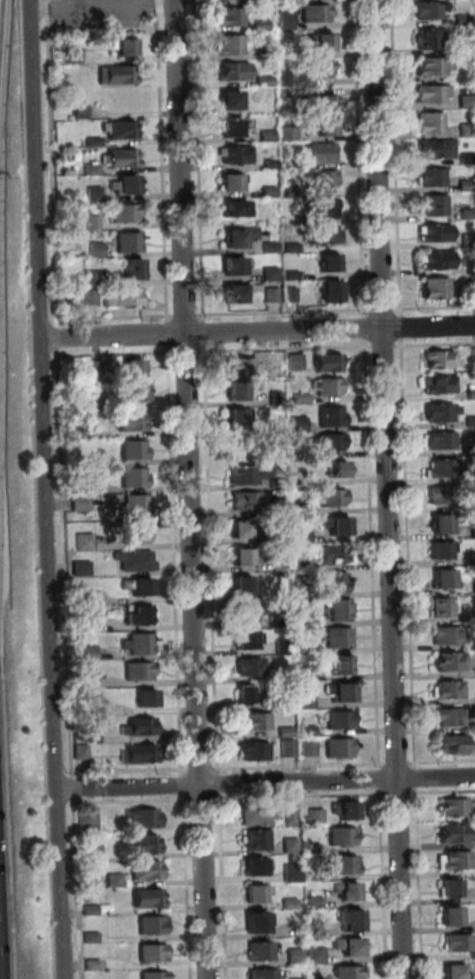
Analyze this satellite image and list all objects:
road: (0, 0)
building: (265, 1)
building: (432, 9)
building: (318, 14)
building: (232, 16)
building: (465, 19)
building: (289, 20)
building: (265, 26)
building: (431, 38)
building: (325, 42)
building: (233, 45)
building: (126, 46)
building: (267, 49)
building: (75, 58)
building: (436, 66)
building: (322, 69)
building: (237, 71)
building: (119, 75)
building: (268, 82)
building: (289, 93)
building: (436, 94)
building: (234, 99)
building: (469, 101)
building: (322, 102)
building: (83, 111)
building: (434, 123)
building: (330, 126)
building: (233, 127)
building: (123, 129)
building: (468, 129)
building: (292, 134)
building: (271, 135)
building: (96, 142)
building: (440, 150)
building: (323, 153)
building: (238, 154)
building: (123, 158)
road: (398, 158)
road: (362, 159)
building: (469, 159)
road: (201, 161)
road: (164, 162)
road: (54, 163)
building: (274, 164)
building: (287, 164)
building: (94, 169)
building: (436, 177)
building: (329, 181)
building: (234, 182)
building: (128, 184)
building: (468, 186)
building: (273, 192)
building: (294, 193)
building: (97, 194)
building: (437, 206)
building: (325, 208)
building: (238, 209)
building: (126, 212)
building: (469, 214)
building: (292, 218)
building: (95, 223)
building: (440, 232)
building: (327, 234)
building: (242, 237)
building: (470, 241)
building: (131, 242)
building: (273, 247)
building: (296, 248)
building: (99, 250)
building: (442, 260)
building: (333, 263)
building: (237, 266)
building: (470, 267)
building: (136, 269)
building: (273, 274)
building: (295, 276)
building: (96, 278)
building: (472, 283)
building: (439, 288)
building: (335, 292)
building: (239, 293)
building: (275, 295)
building: (294, 295)
building: (126, 297)
building: (92, 298)
road: (436, 308)
road: (386, 309)
road: (286, 312)
road: (187, 315)
road: (118, 317)
road: (403, 328)
road: (368, 330)
road: (259, 333)
road: (170, 334)
road: (206, 334)
road: (60, 337)
road: (437, 345)
road: (386, 346)
road: (287, 349)
road: (189, 352)
road: (118, 353)
building: (439, 358)
building: (329, 361)
building: (240, 365)
building: (133, 367)
building: (438, 383)
building: (327, 385)
building: (236, 389)
building: (134, 390)
building: (470, 390)
road: (44, 395)
building: (275, 396)
building: (301, 397)
building: (440, 410)
building: (330, 415)
building: (238, 417)
building: (131, 420)
building: (470, 420)
building: (298, 423)
building: (73, 431)
building: (439, 439)
building: (332, 441)
building: (133, 448)
building: (101, 459)
building: (442, 467)
building: (338, 468)
building: (246, 474)
building: (134, 476)
building: (276, 481)
road: (194, 489)
road: (390, 489)
building: (439, 494)
building: (332, 496)
building: (245, 500)
building: (81, 502)
building: (136, 503)
building: (279, 505)
building: (301, 507)
building: (441, 523)
building: (336, 524)
building: (240, 528)
building: (135, 530)
building: (300, 534)
building: (84, 541)
building: (441, 549)
building: (334, 553)
road: (410, 553)
building: (241, 555)
road: (374, 555)
building: (473, 555)
building: (134, 559)
road: (213, 559)
road: (177, 561)
building: (279, 562)
road: (67, 564)
building: (80, 567)
building: (443, 578)
building: (334, 581)
building: (241, 583)
building: (138, 585)
building: (474, 585)
building: (82, 597)
building: (444, 605)
building: (338, 609)
building: (244, 610)
building: (139, 614)
building: (302, 614)
building: (86, 617)
building: (446, 634)
building: (338, 637)
building: (247, 638)
building: (138, 642)
building: (284, 646)
building: (304, 647)
building: (89, 652)
building: (449, 660)
building: (341, 664)
building: (249, 666)
building: (305, 668)
building: (137, 669)
building: (89, 681)
building: (447, 688)
building: (340, 690)
building: (244, 692)
building: (146, 697)
building: (306, 701)
building: (449, 716)
building: (341, 718)
building: (253, 720)
building: (138, 726)
building: (305, 730)
building: (285, 731)
building: (452, 742)
building: (287, 747)
building: (307, 747)
building: (339, 747)
building: (253, 749)
building: (84, 752)
building: (138, 753)
road: (444, 762)
road: (400, 763)
road: (301, 766)
road: (202, 770)
road: (131, 771)
road: (418, 777)
road: (381, 778)
road: (221, 783)
road: (265, 783)
road: (185, 786)
road: (74, 789)
road: (443, 791)
road: (401, 793)
road: (302, 796)
road: (203, 799)
road: (133, 801)
building: (457, 808)
building: (348, 811)
building: (258, 816)
building: (293, 816)
building: (319, 817)
building: (146, 818)
building: (89, 821)
building: (456, 835)
building: (345, 836)
building: (259, 841)
building: (146, 846)
building: (292, 846)
building: (314, 849)
building: (93, 850)
building: (457, 862)
building: (346, 866)
building: (258, 868)
building: (147, 871)
building: (294, 873)
building: (316, 875)
building: (116, 880)
road: (385, 883)
road: (60, 884)
road: (421, 884)
road: (188, 886)
road: (224, 886)
road: (78, 888)
building: (452, 890)
building: (350, 892)
building: (257, 894)
building: (148, 899)
building: (316, 903)
building: (291, 904)
building: (90, 910)
building: (453, 918)
building: (353, 921)
building: (259, 924)
building: (152, 926)
building: (318, 930)
building: (91, 938)
building: (461, 944)
building: (351, 948)
building: (262, 952)
building: (153, 954)
building: (296, 956)
building: (318, 956)
building: (474, 956)
building: (92, 966)
building: (349, 972)
building: (455, 972)
building: (264, 974)
building: (153, 976)

